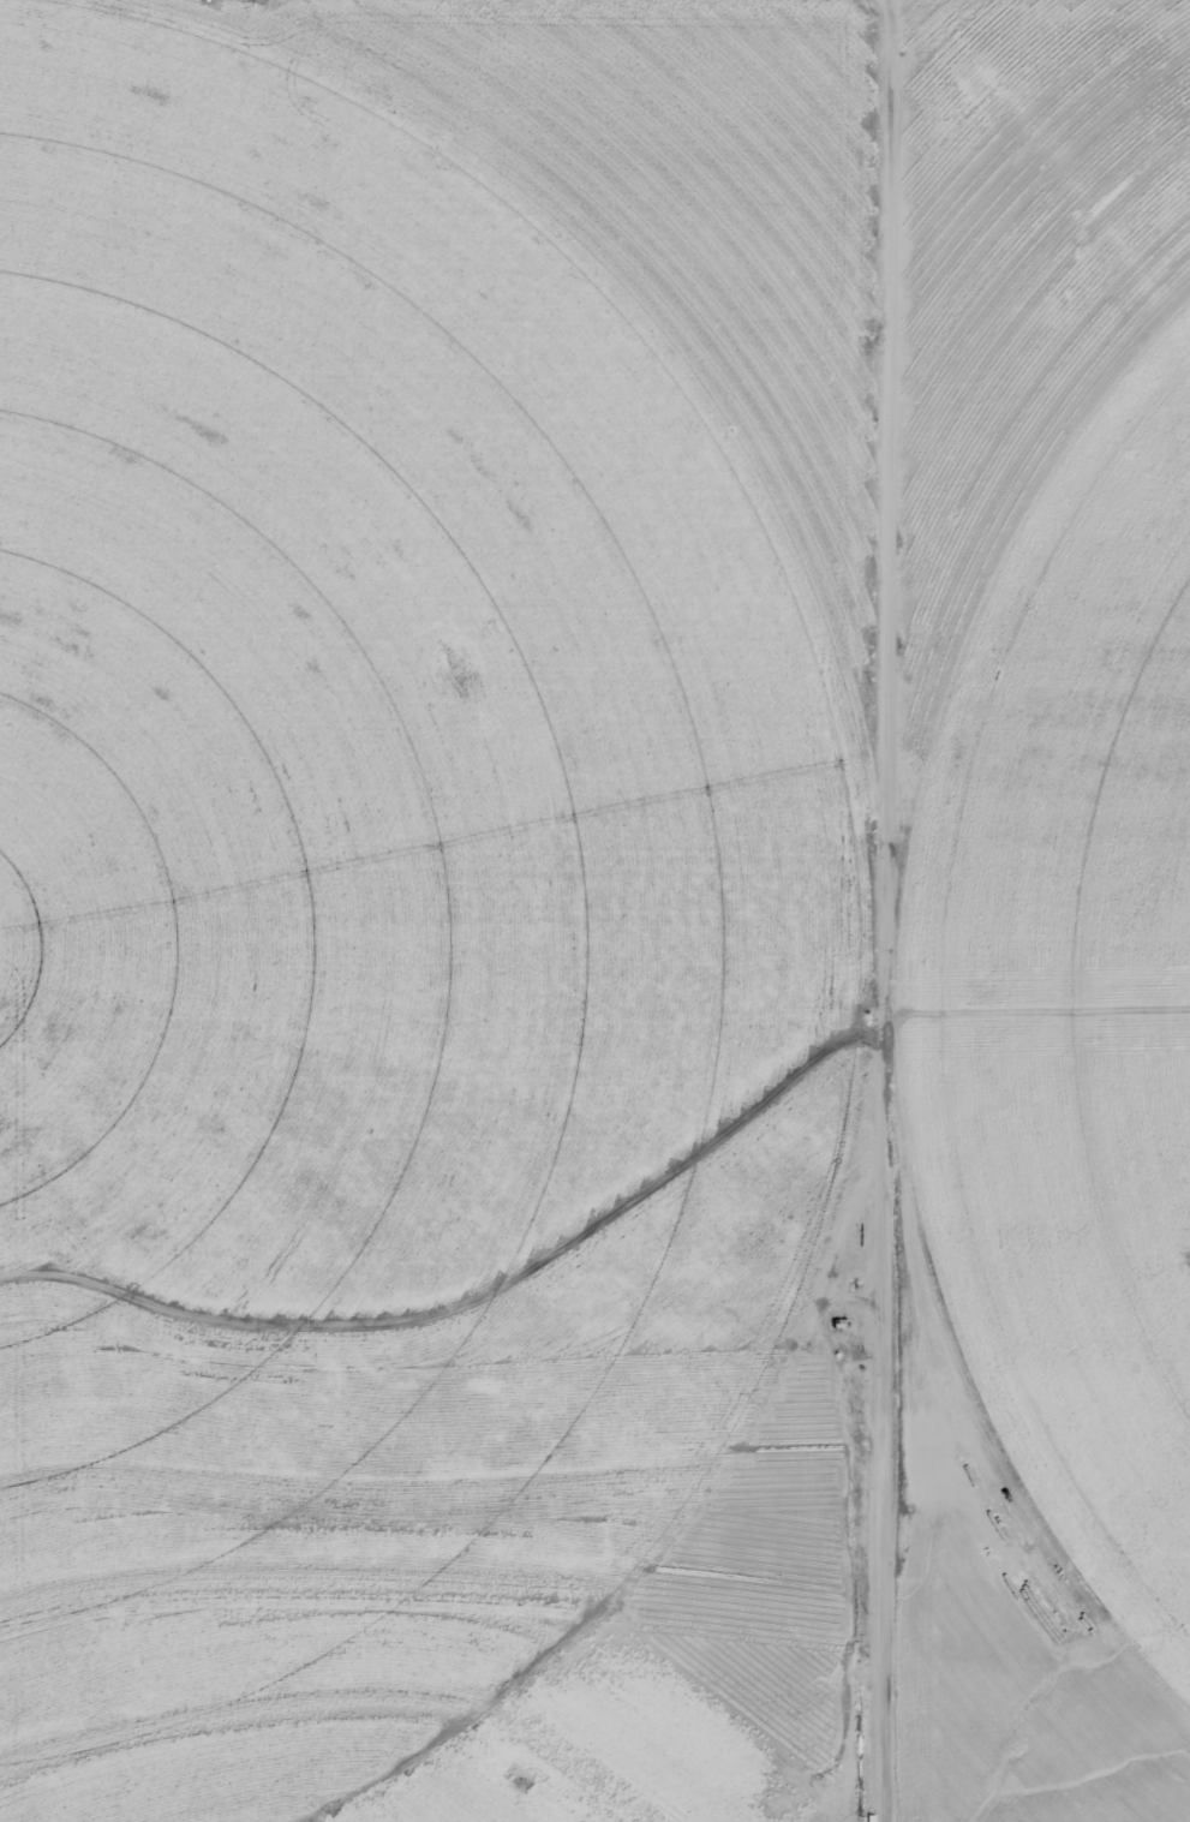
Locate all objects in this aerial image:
road: (883, 910)

